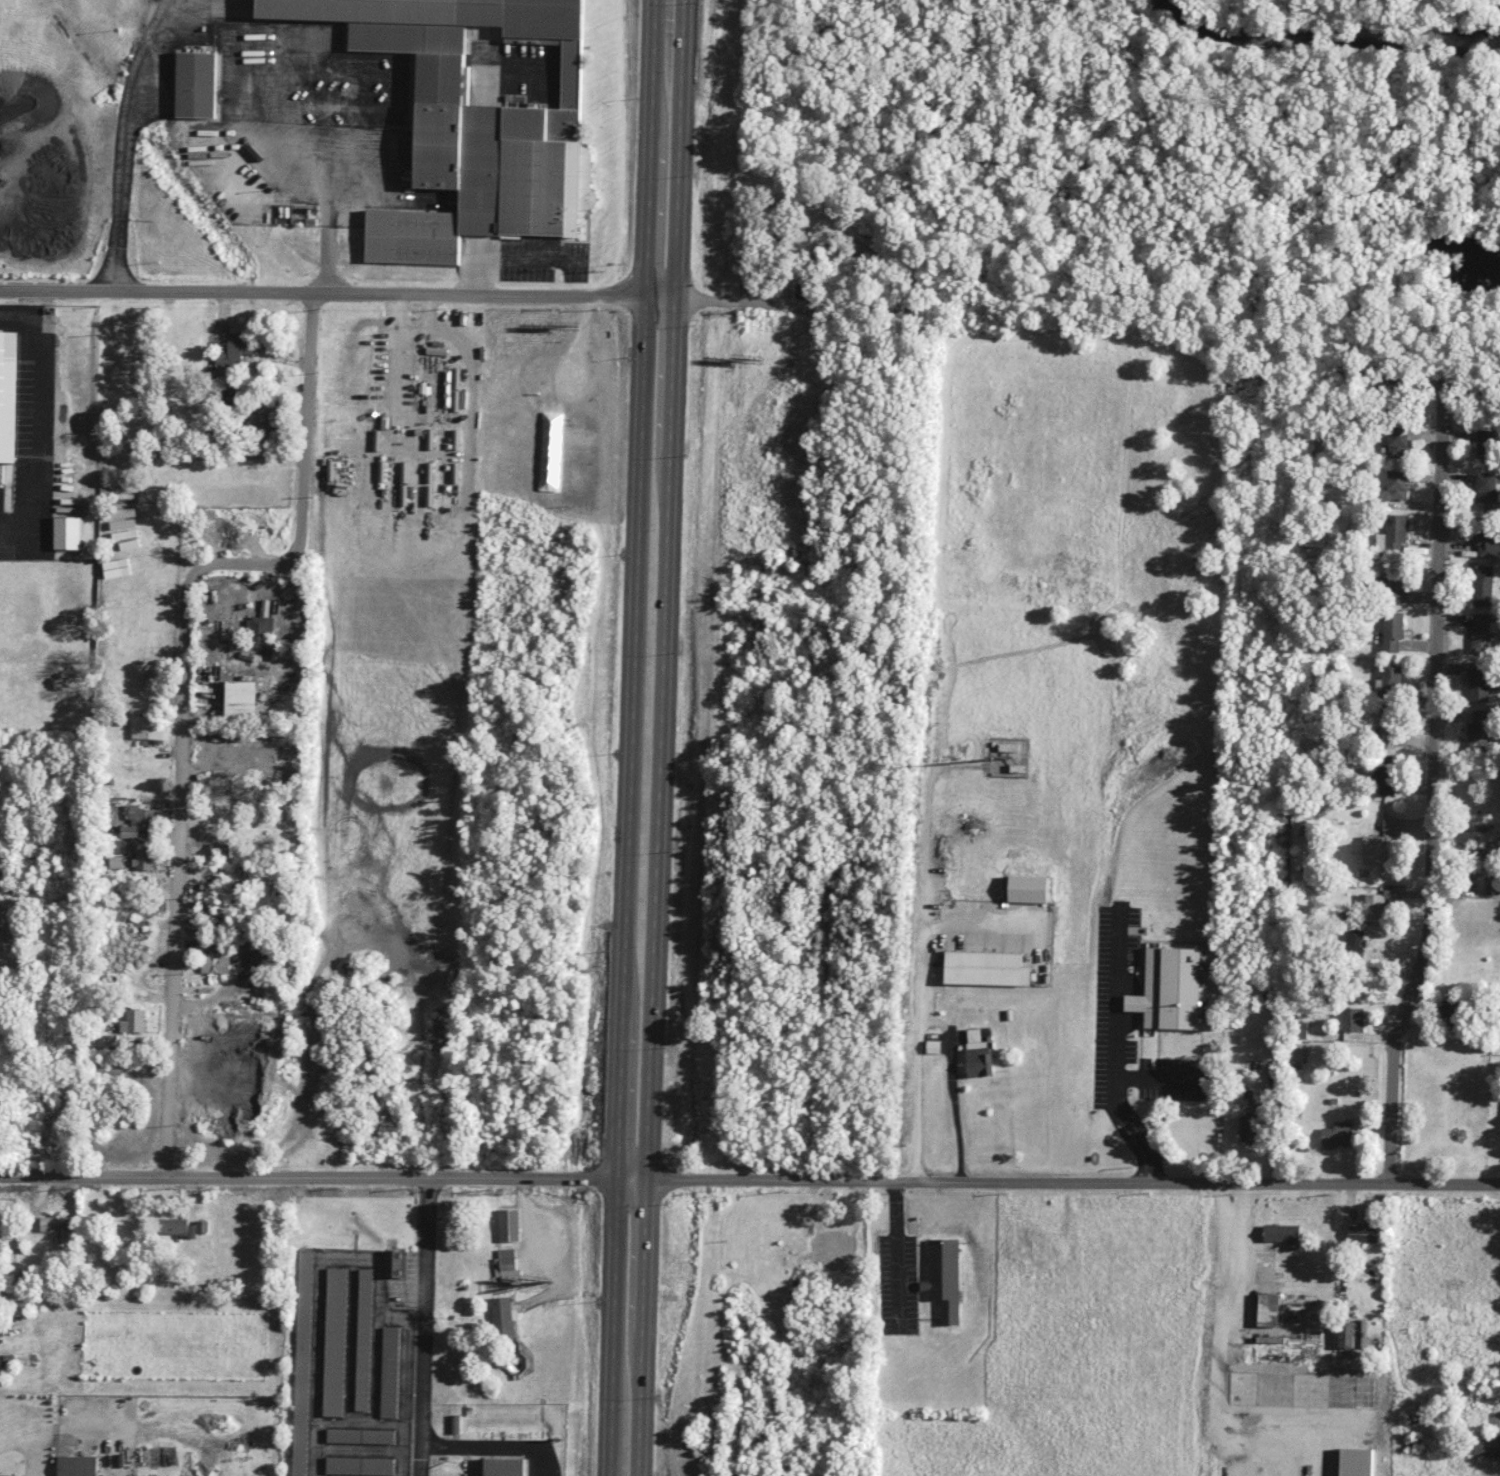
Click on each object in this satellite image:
road: (214, 34)
river: (1327, 37)
building: (194, 84)
road: (860, 107)
building: (471, 123)
road: (1018, 159)
road: (914, 230)
road: (511, 257)
road: (336, 292)
road: (782, 301)
building: (437, 342)
building: (237, 349)
building: (436, 349)
building: (455, 377)
building: (9, 392)
building: (455, 400)
building: (259, 420)
building: (418, 430)
building: (429, 437)
building: (376, 439)
building: (455, 439)
building: (1398, 444)
building: (1394, 486)
building: (1486, 486)
building: (67, 532)
building: (1393, 535)
building: (1313, 541)
building: (1486, 541)
building: (1393, 582)
building: (1483, 585)
building: (1392, 630)
building: (259, 631)
building: (1481, 633)
building: (1392, 680)
building: (1479, 681)
road: (182, 686)
building: (241, 698)
road: (1433, 713)
building: (146, 728)
building: (1478, 729)
road: (659, 737)
road: (632, 738)
building: (1496, 802)
building: (137, 820)
building: (117, 846)
building: (1376, 849)
building: (219, 850)
building: (143, 859)
building: (115, 861)
building: (1477, 869)
building: (1028, 888)
building: (1371, 907)
building: (1355, 943)
building: (215, 962)
building: (987, 968)
building: (1171, 987)
building: (1448, 1007)
building: (1351, 1018)
road: (932, 1020)
building: (133, 1021)
building: (1298, 1029)
building: (1295, 1053)
building: (978, 1054)
road: (1392, 1109)
building: (1248, 1128)
building: (1338, 1133)
road: (309, 1176)
road: (632, 1178)
road: (1073, 1182)
building: (508, 1224)
building: (173, 1226)
building: (202, 1226)
building: (58, 1227)
building: (1362, 1233)
building: (1283, 1234)
building: (394, 1263)
building: (506, 1265)
building: (944, 1277)
building: (1268, 1309)
building: (503, 1316)
road: (424, 1326)
building: (1, 1330)
building: (1345, 1334)
building: (363, 1338)
building: (334, 1341)
building: (7, 1362)
building: (301, 1362)
building: (389, 1370)
building: (455, 1422)
building: (360, 1435)
building: (1488, 1446)
building: (77, 1465)
building: (359, 1465)
building: (502, 1466)

